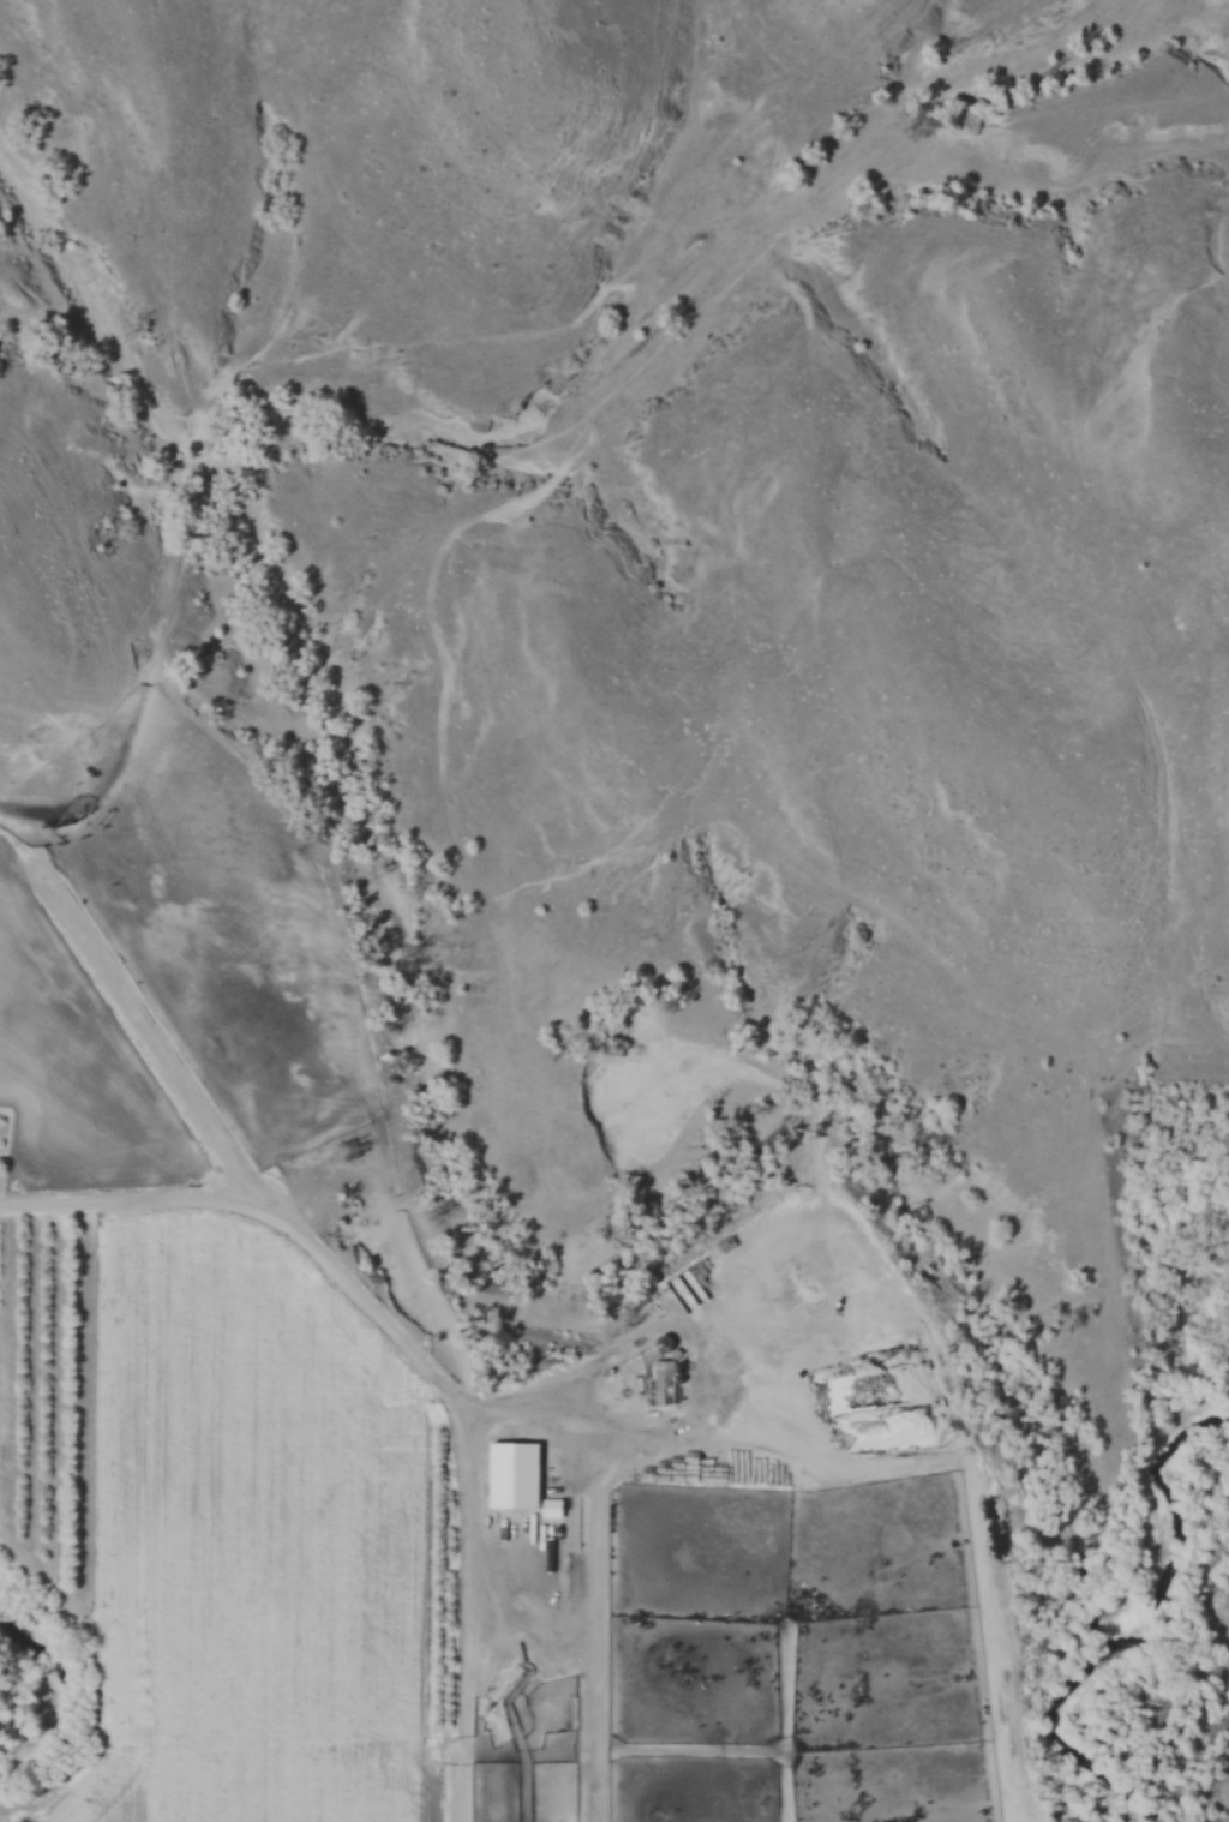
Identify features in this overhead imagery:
road: (366, 1299)
building: (664, 1377)
road: (569, 1413)
building: (514, 1468)
building: (554, 1510)
crop: (250, 1541)

